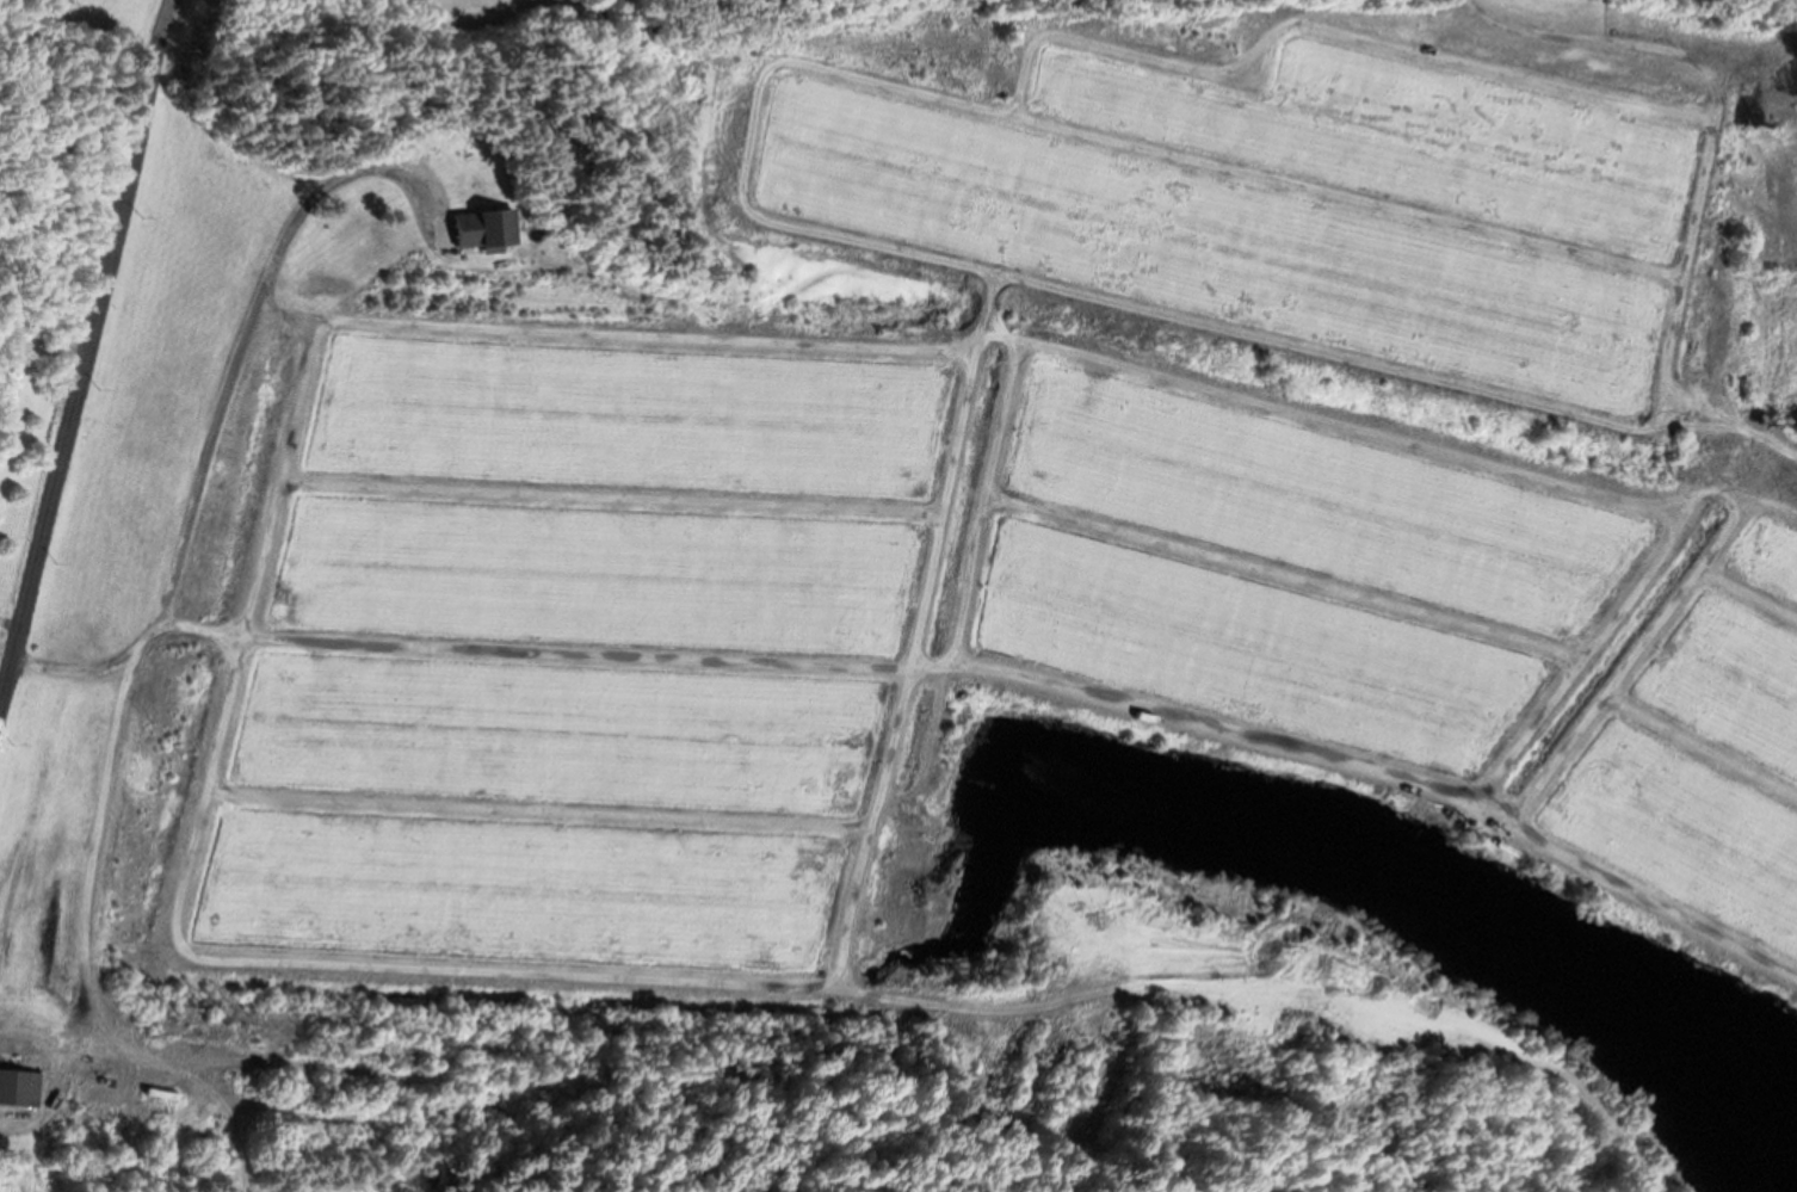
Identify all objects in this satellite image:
building: (465, 231)
road: (109, 302)
building: (23, 1091)

